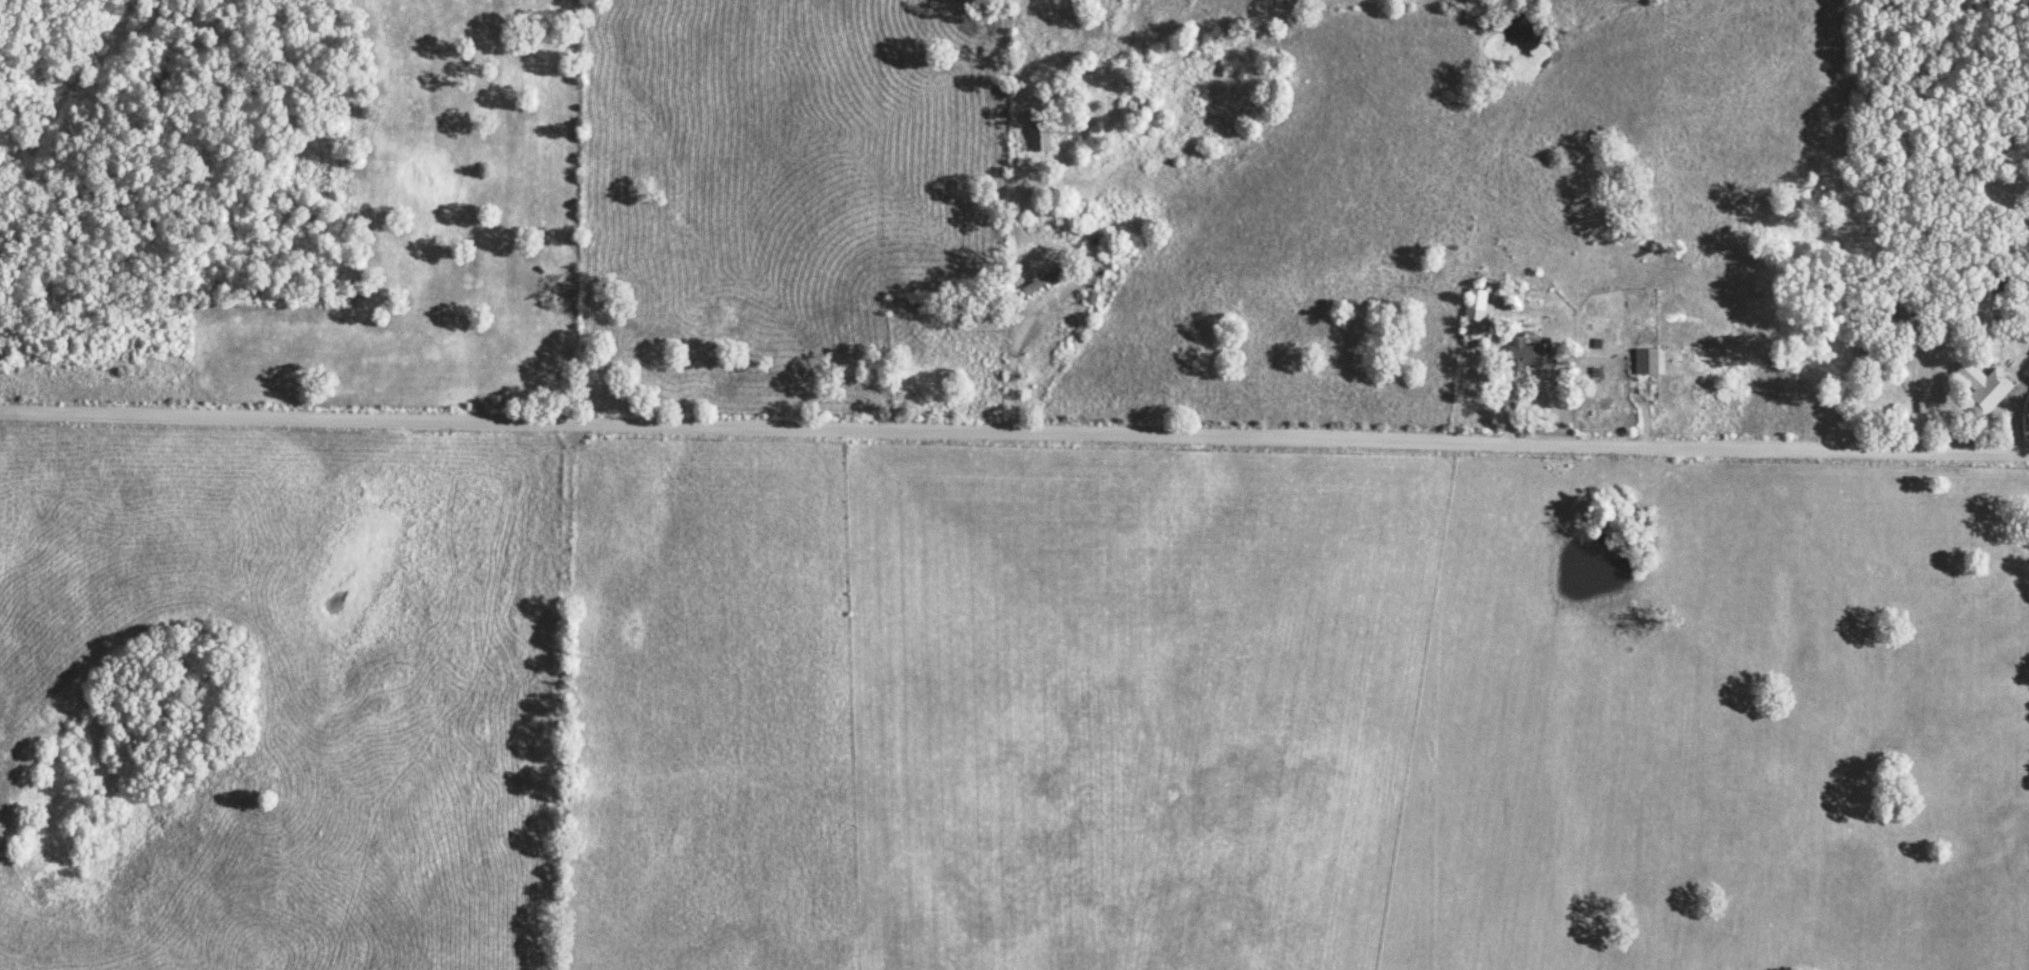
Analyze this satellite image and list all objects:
building: (1038, 139)
building: (1040, 282)
building: (1473, 313)
building: (1528, 355)
building: (1648, 362)
building: (2026, 373)
road: (1014, 376)
building: (1984, 387)
road: (1014, 432)

